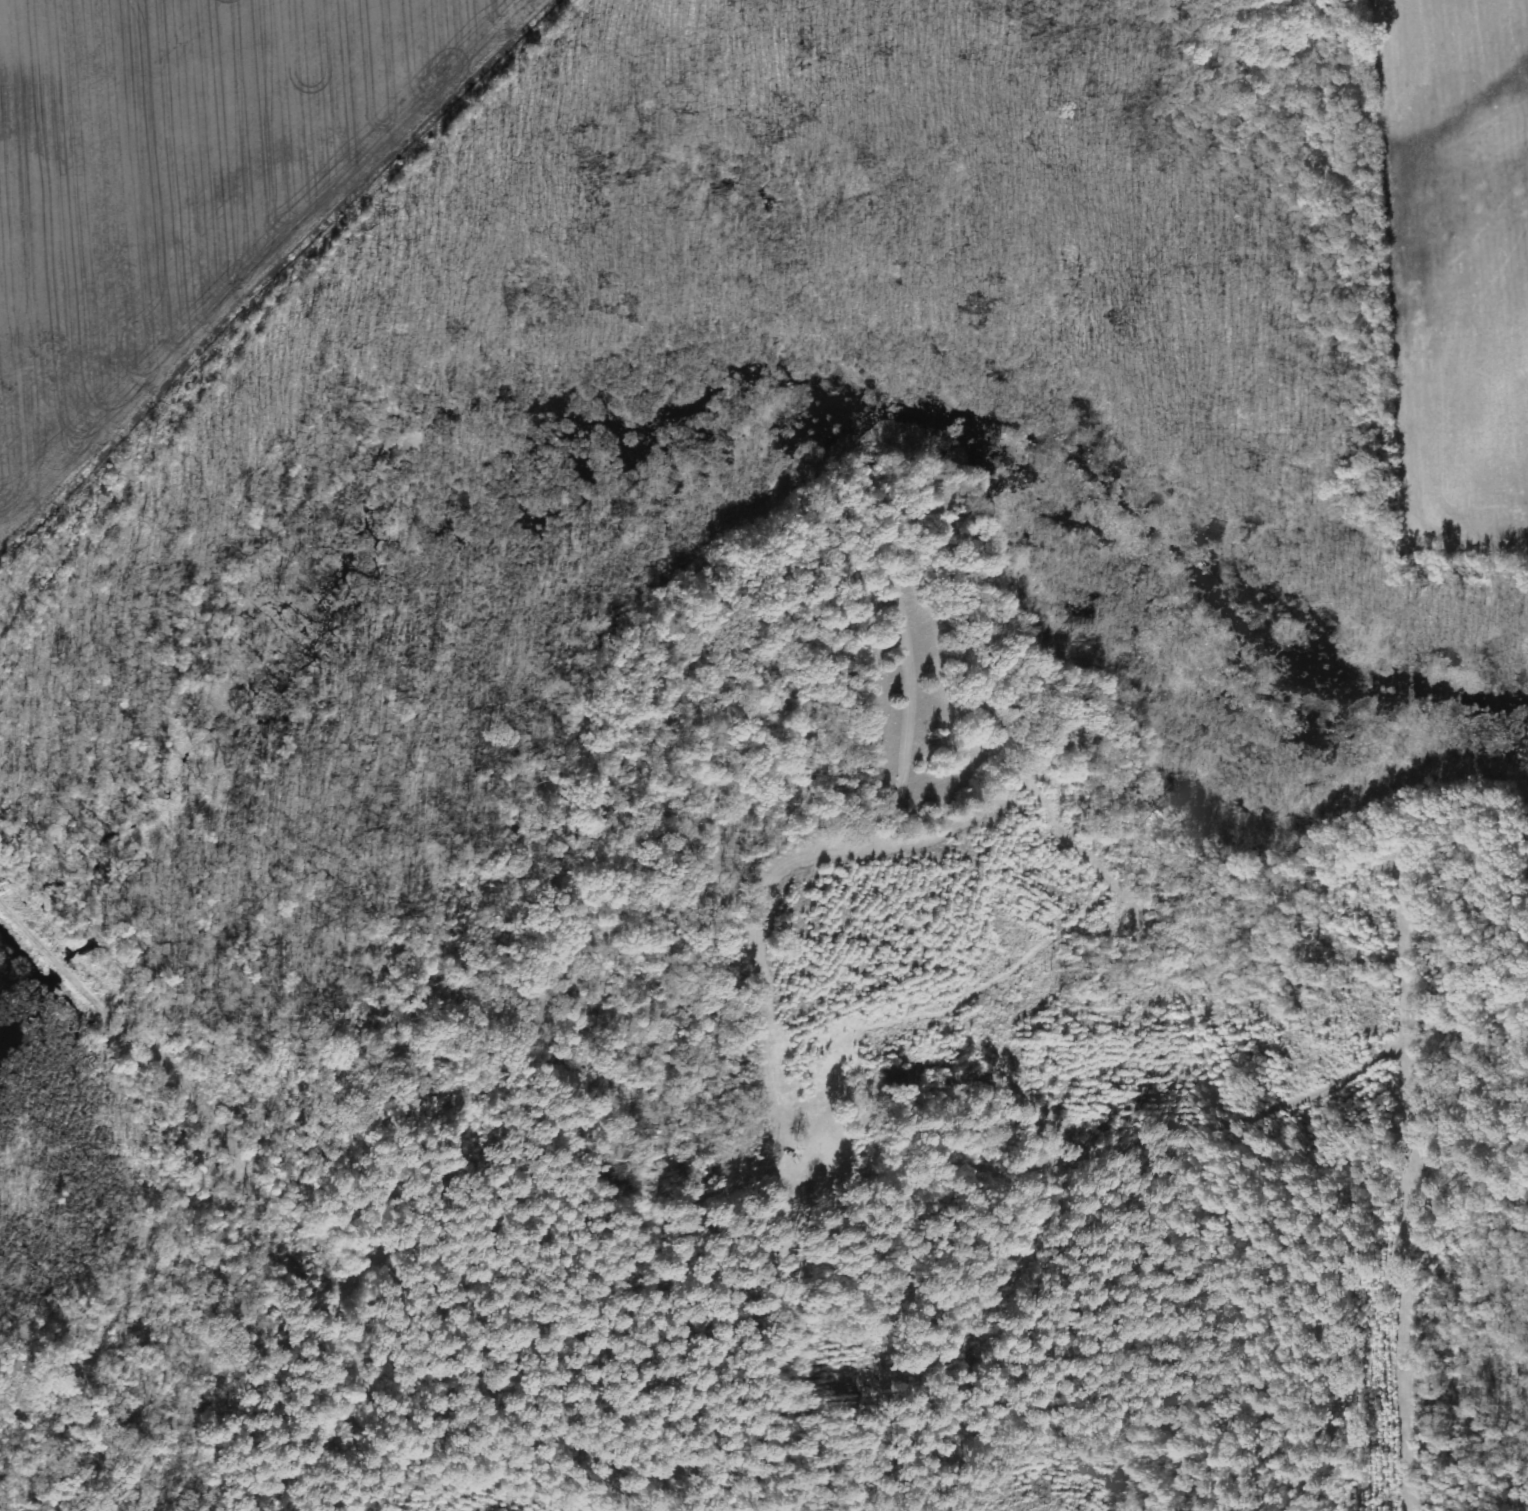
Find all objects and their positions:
road: (371, 1500)

